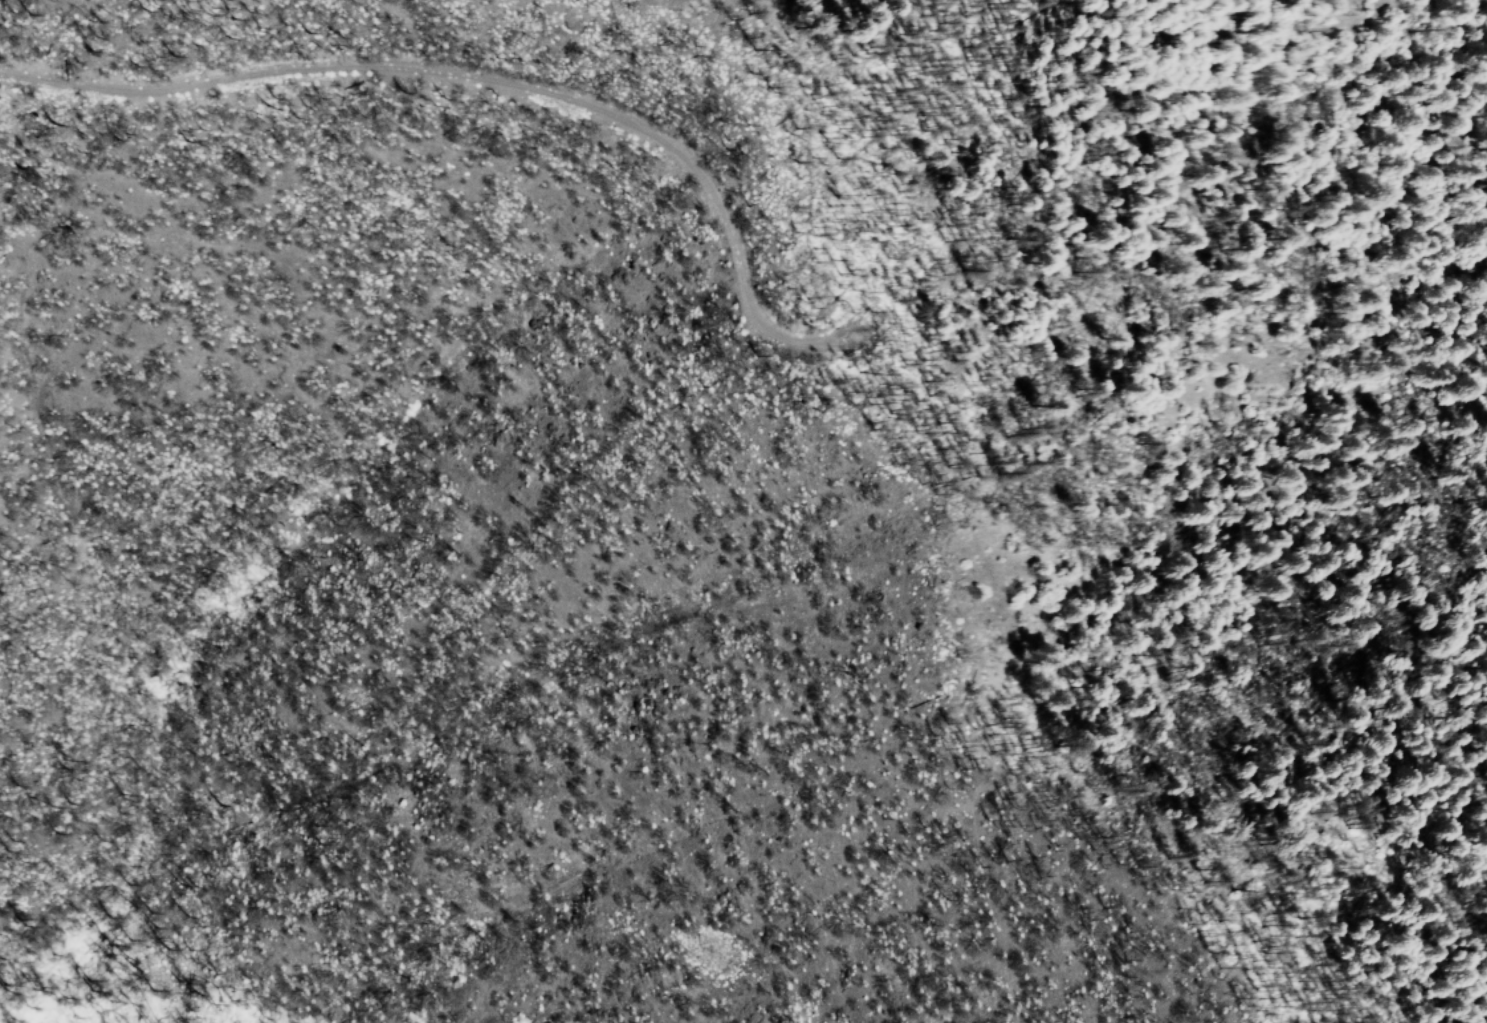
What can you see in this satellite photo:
road: (480, 114)

